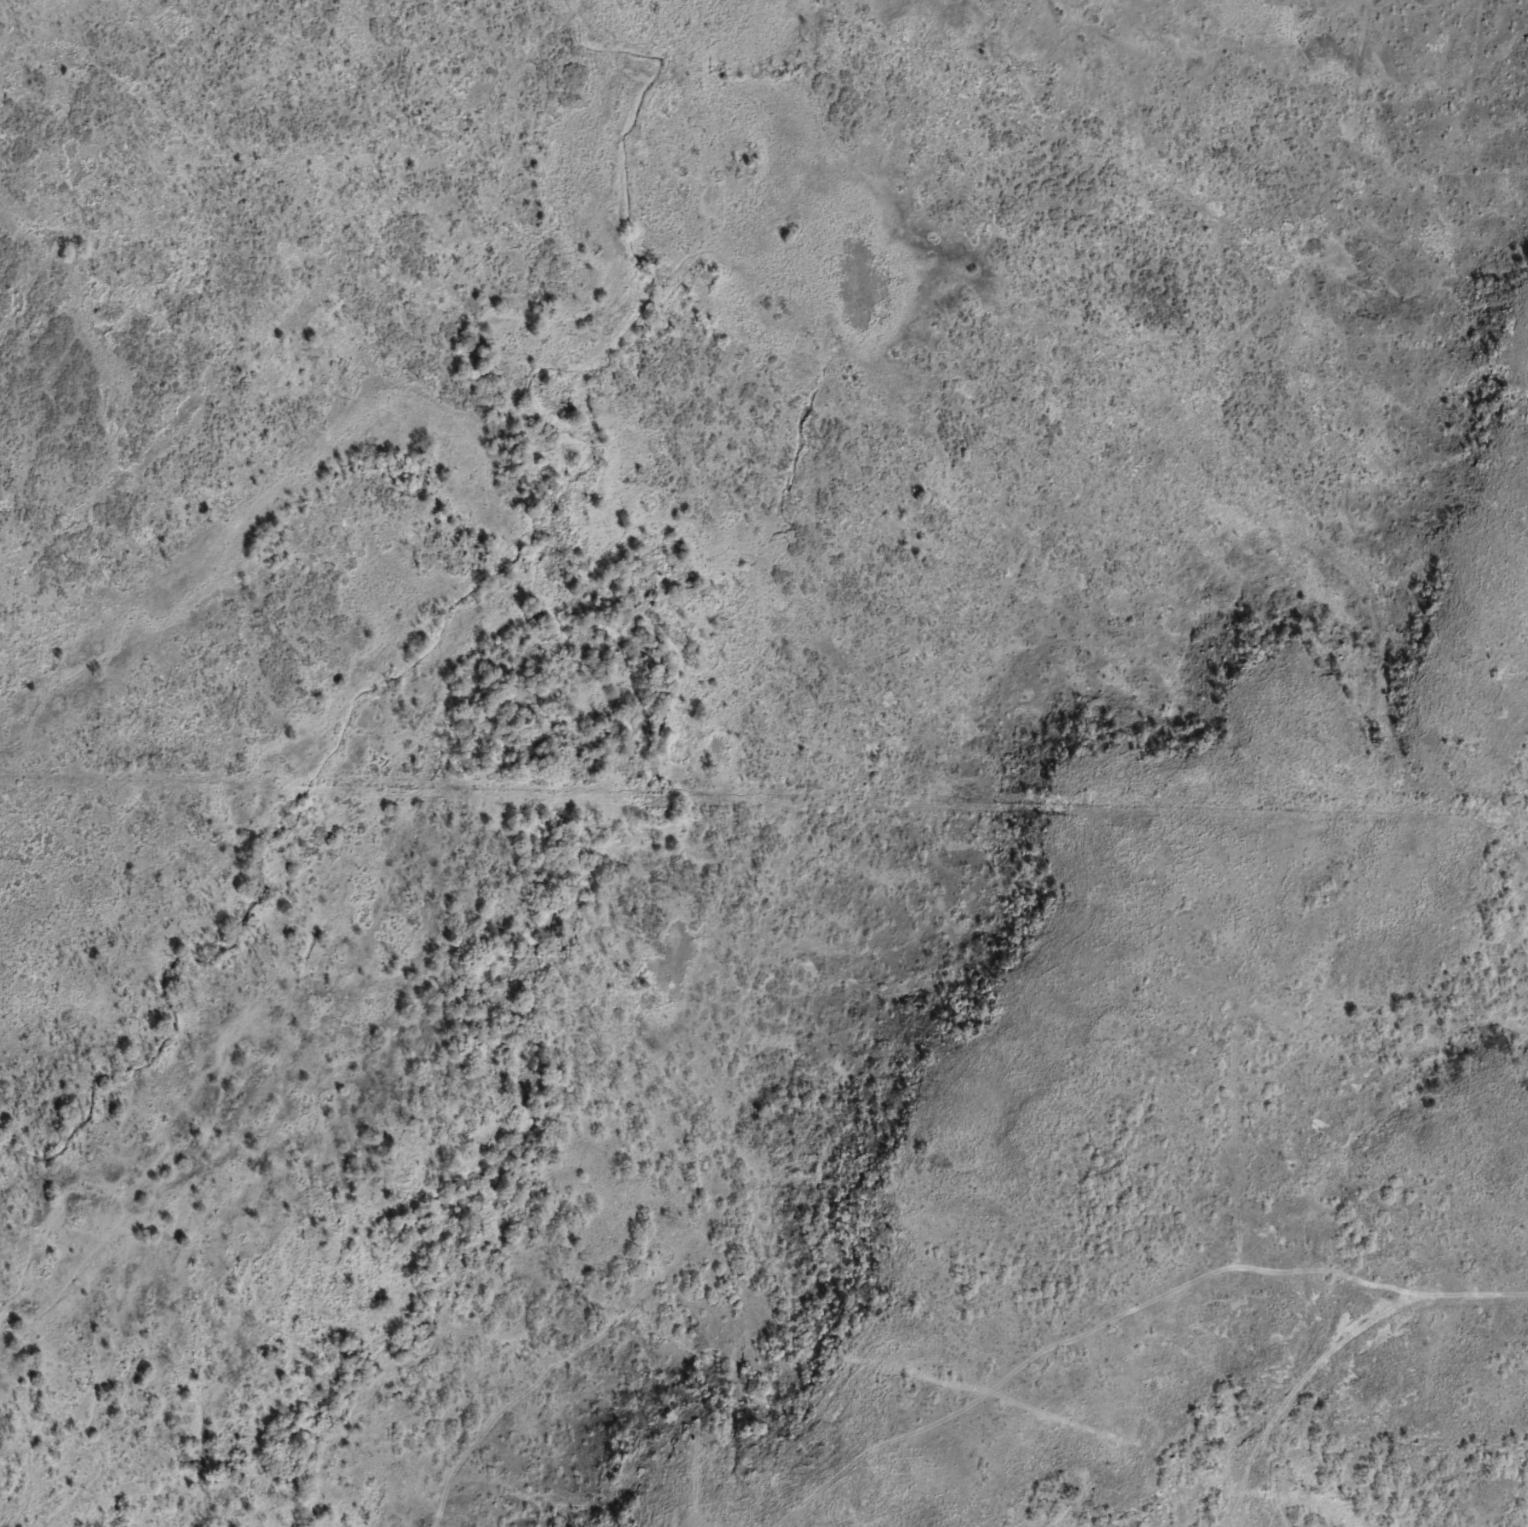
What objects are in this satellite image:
road: (1318, 1347)

